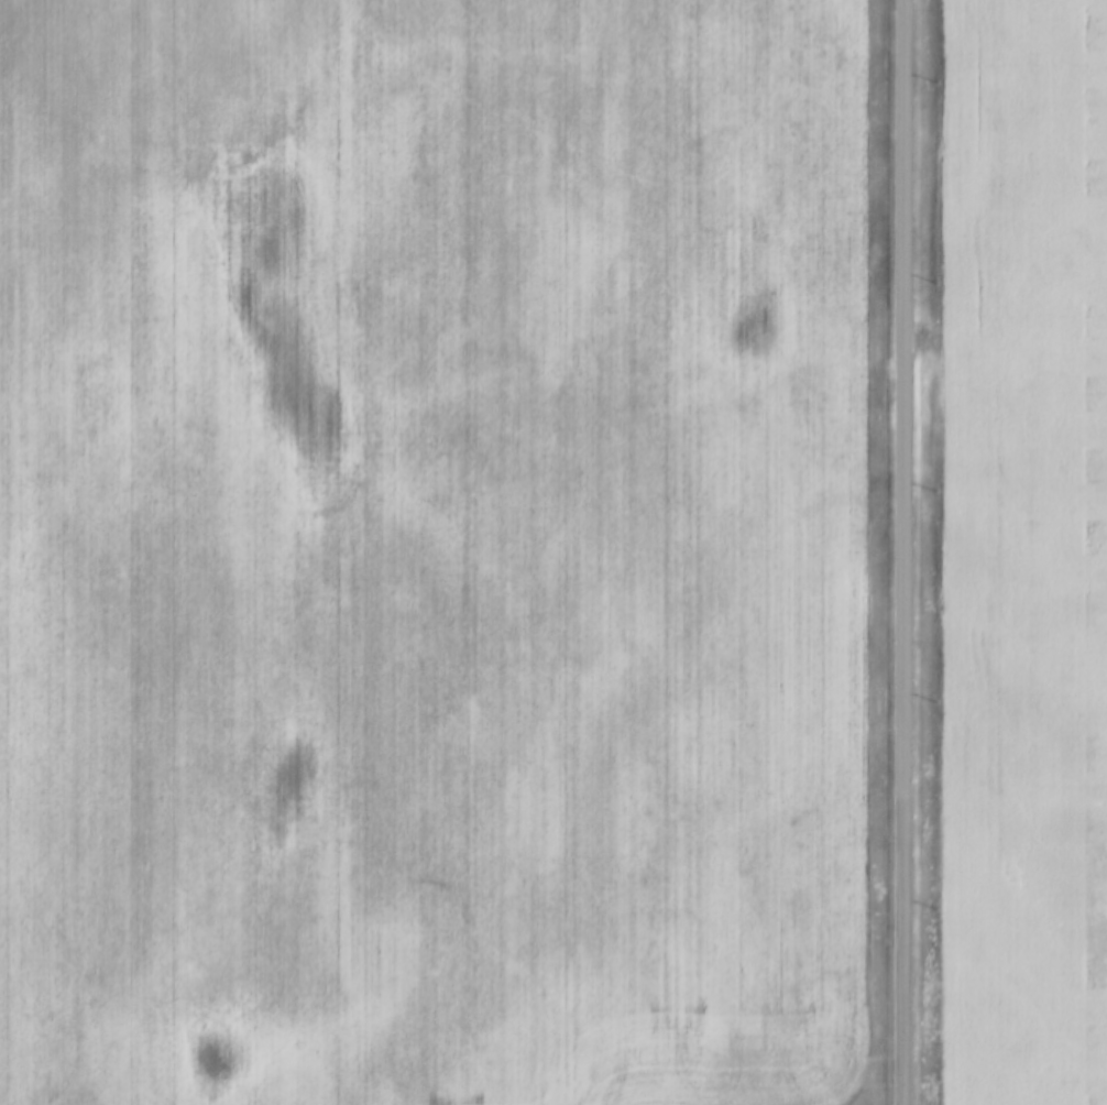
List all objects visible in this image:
road: (902, 551)

